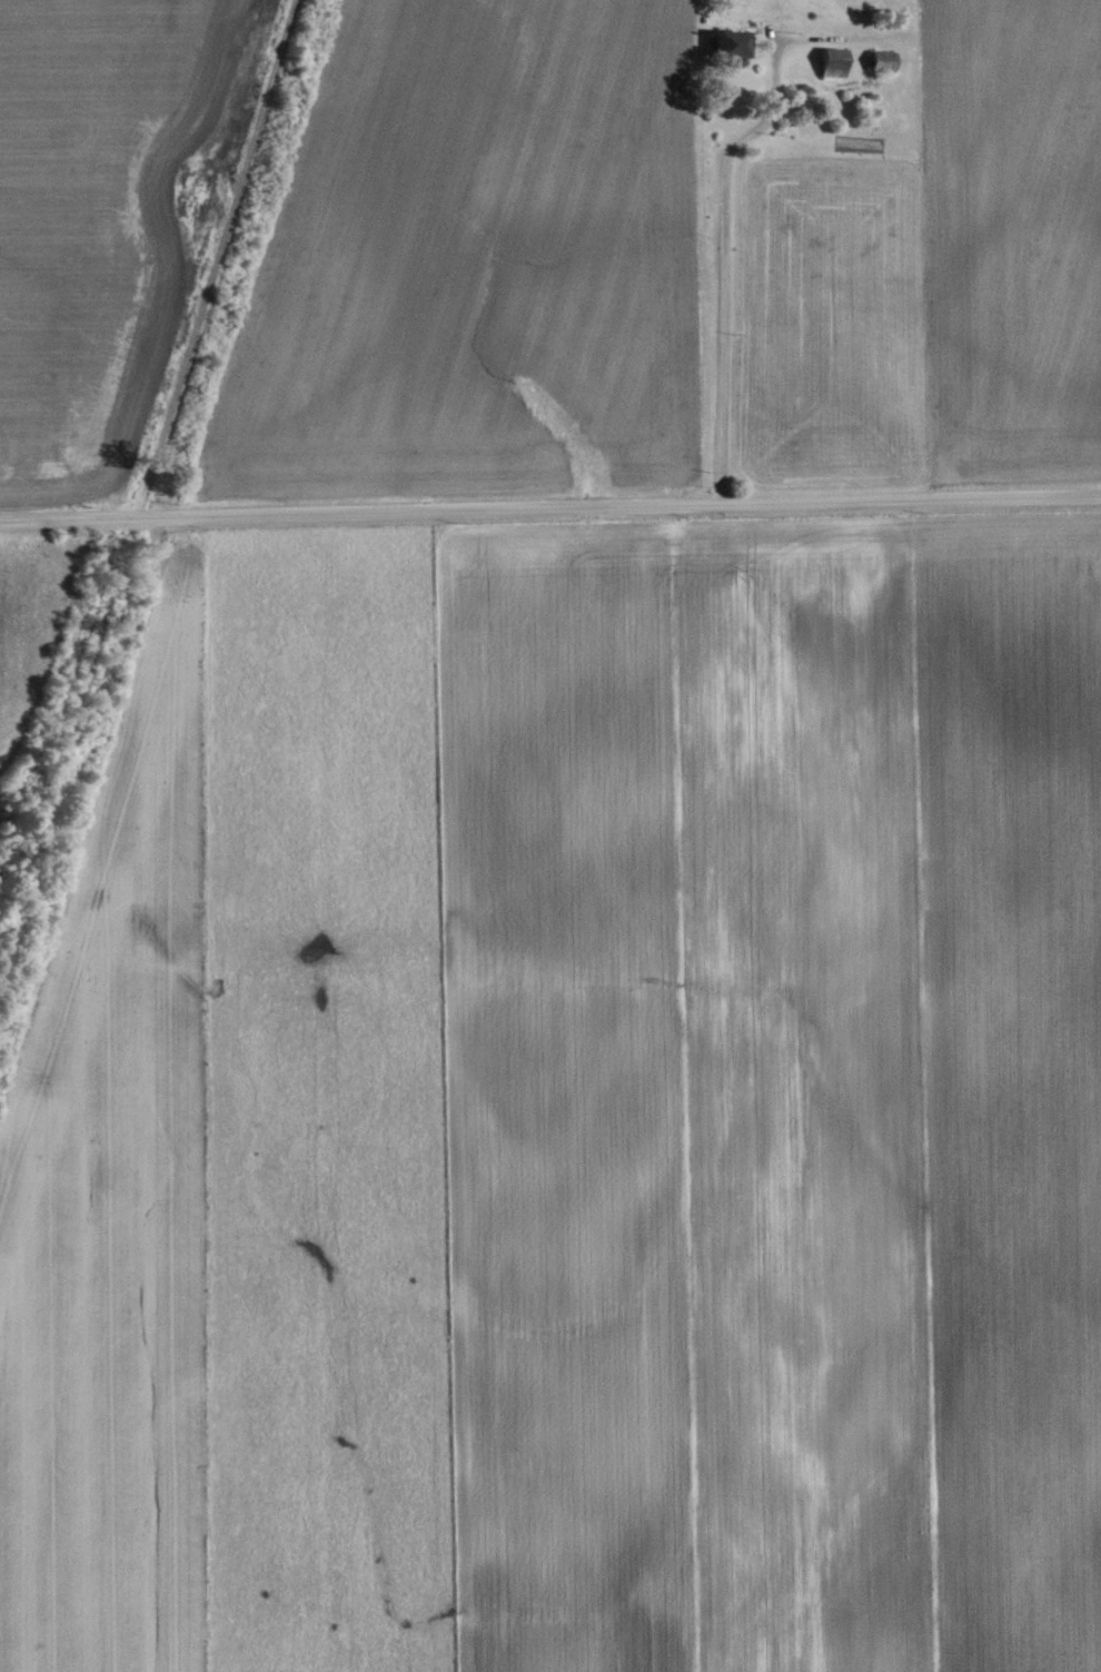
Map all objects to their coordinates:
road: (710, 172)
road: (550, 506)

